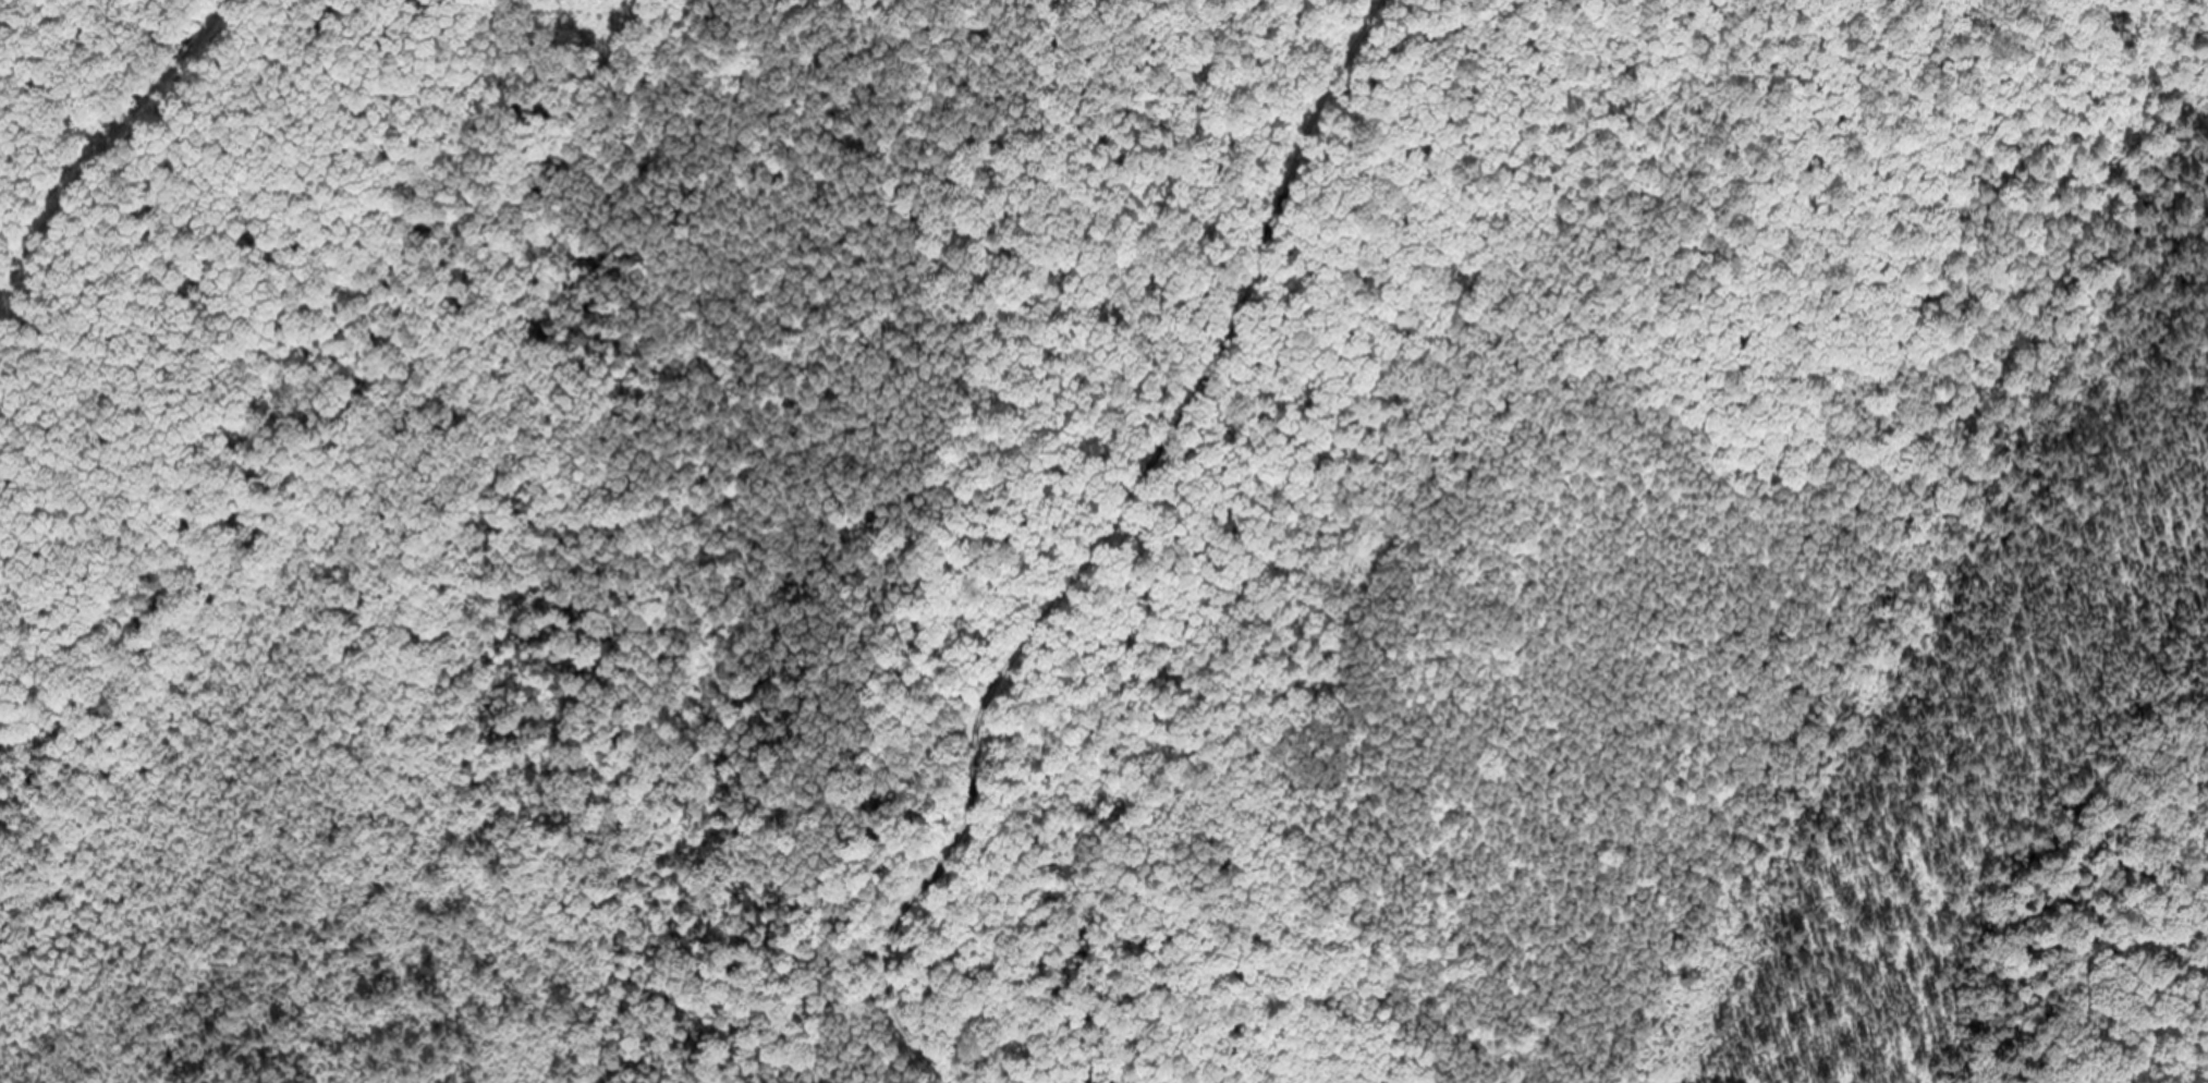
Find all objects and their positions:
road: (100, 145)
road: (1095, 540)

